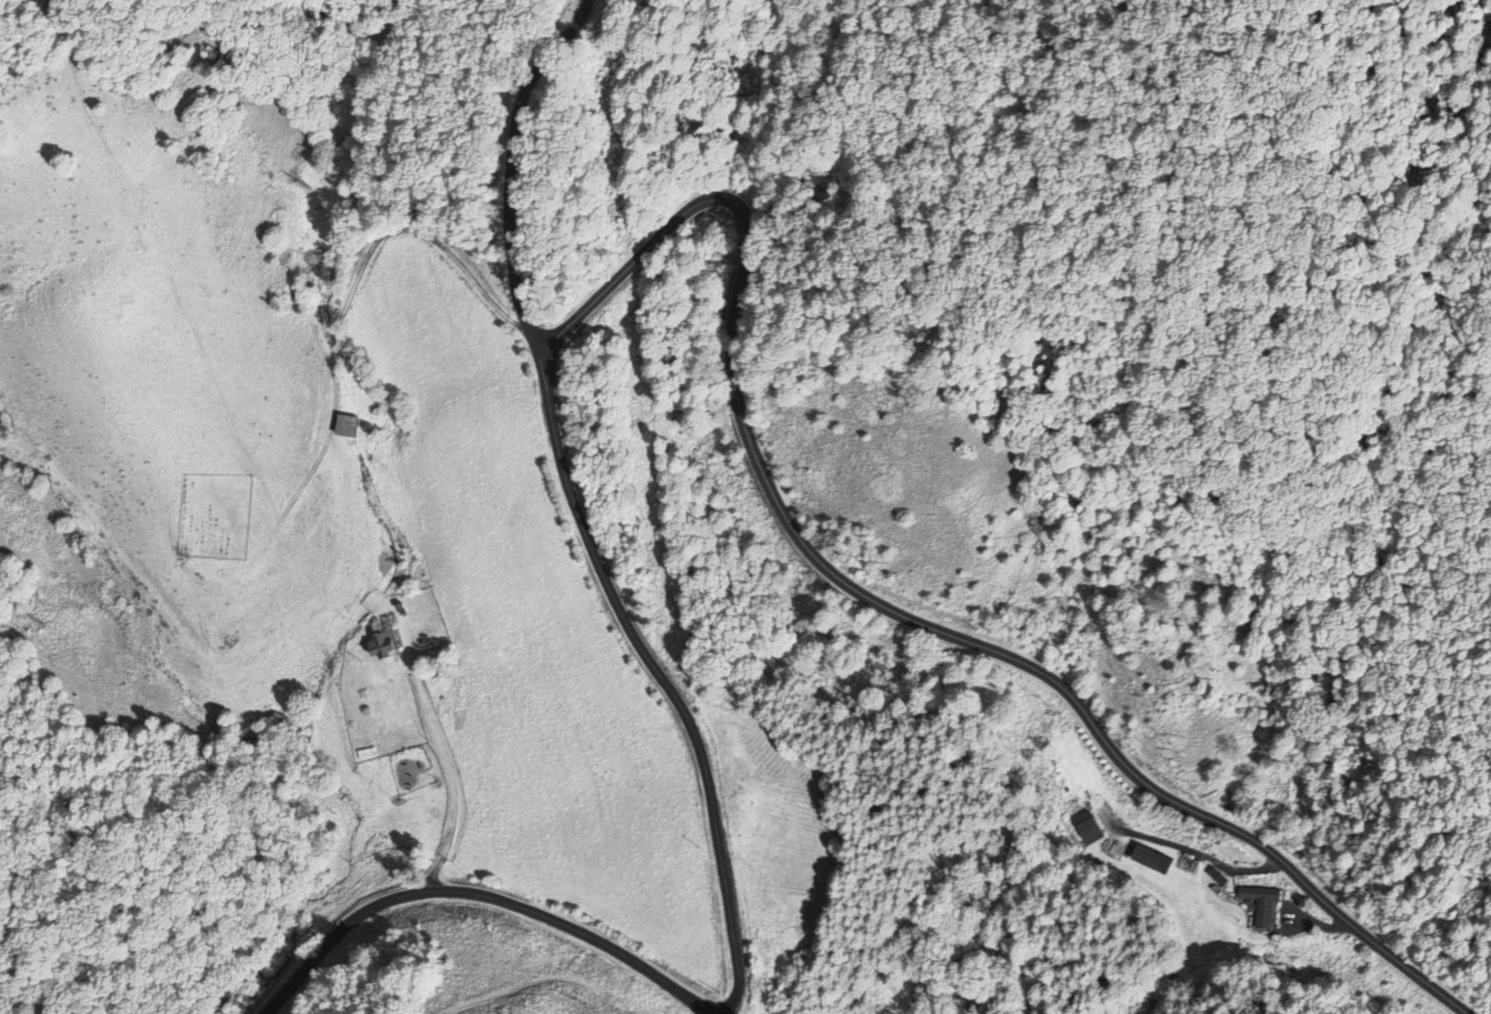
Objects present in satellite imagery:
building: (345, 426)
park: (215, 514)
road: (875, 604)
building: (378, 638)
building: (428, 672)
road: (699, 750)
road: (439, 782)
building: (1086, 826)
building: (1150, 857)
building: (1215, 875)
building: (1261, 903)

